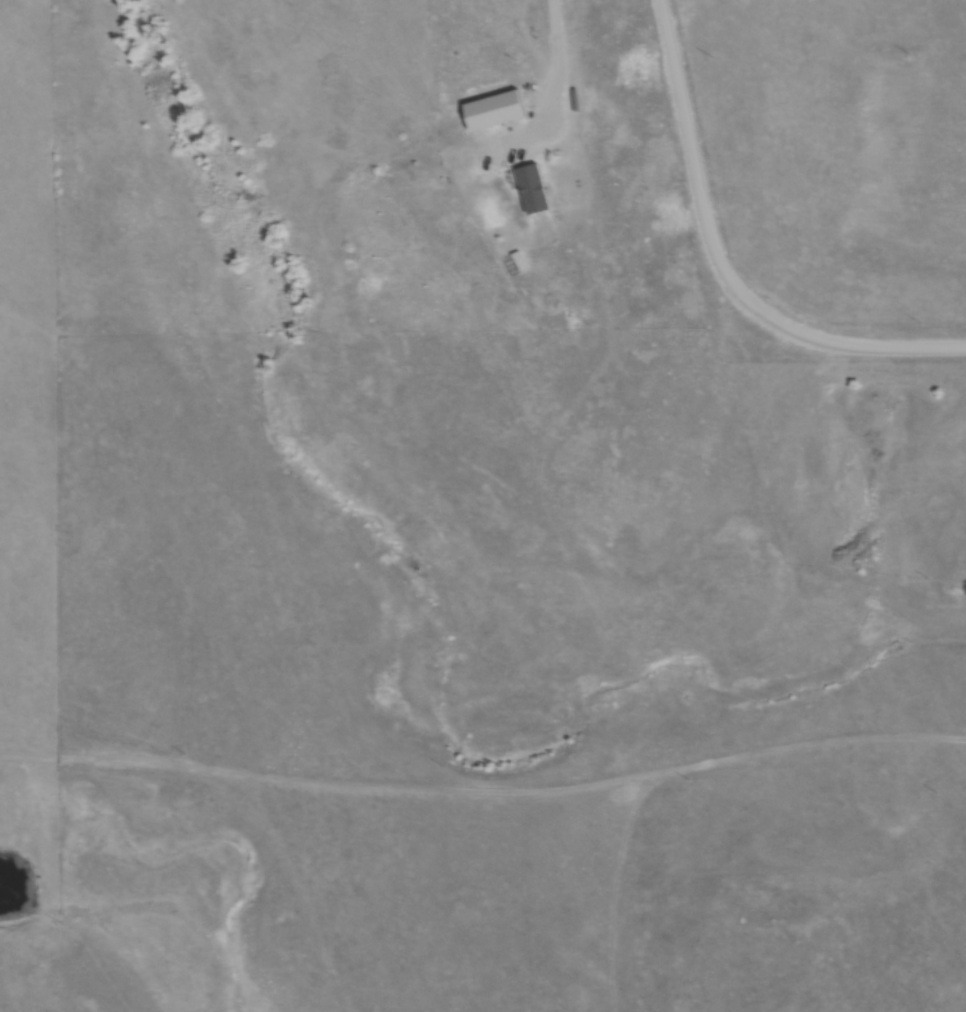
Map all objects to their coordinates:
building: (494, 112)
building: (533, 191)
road: (726, 262)

